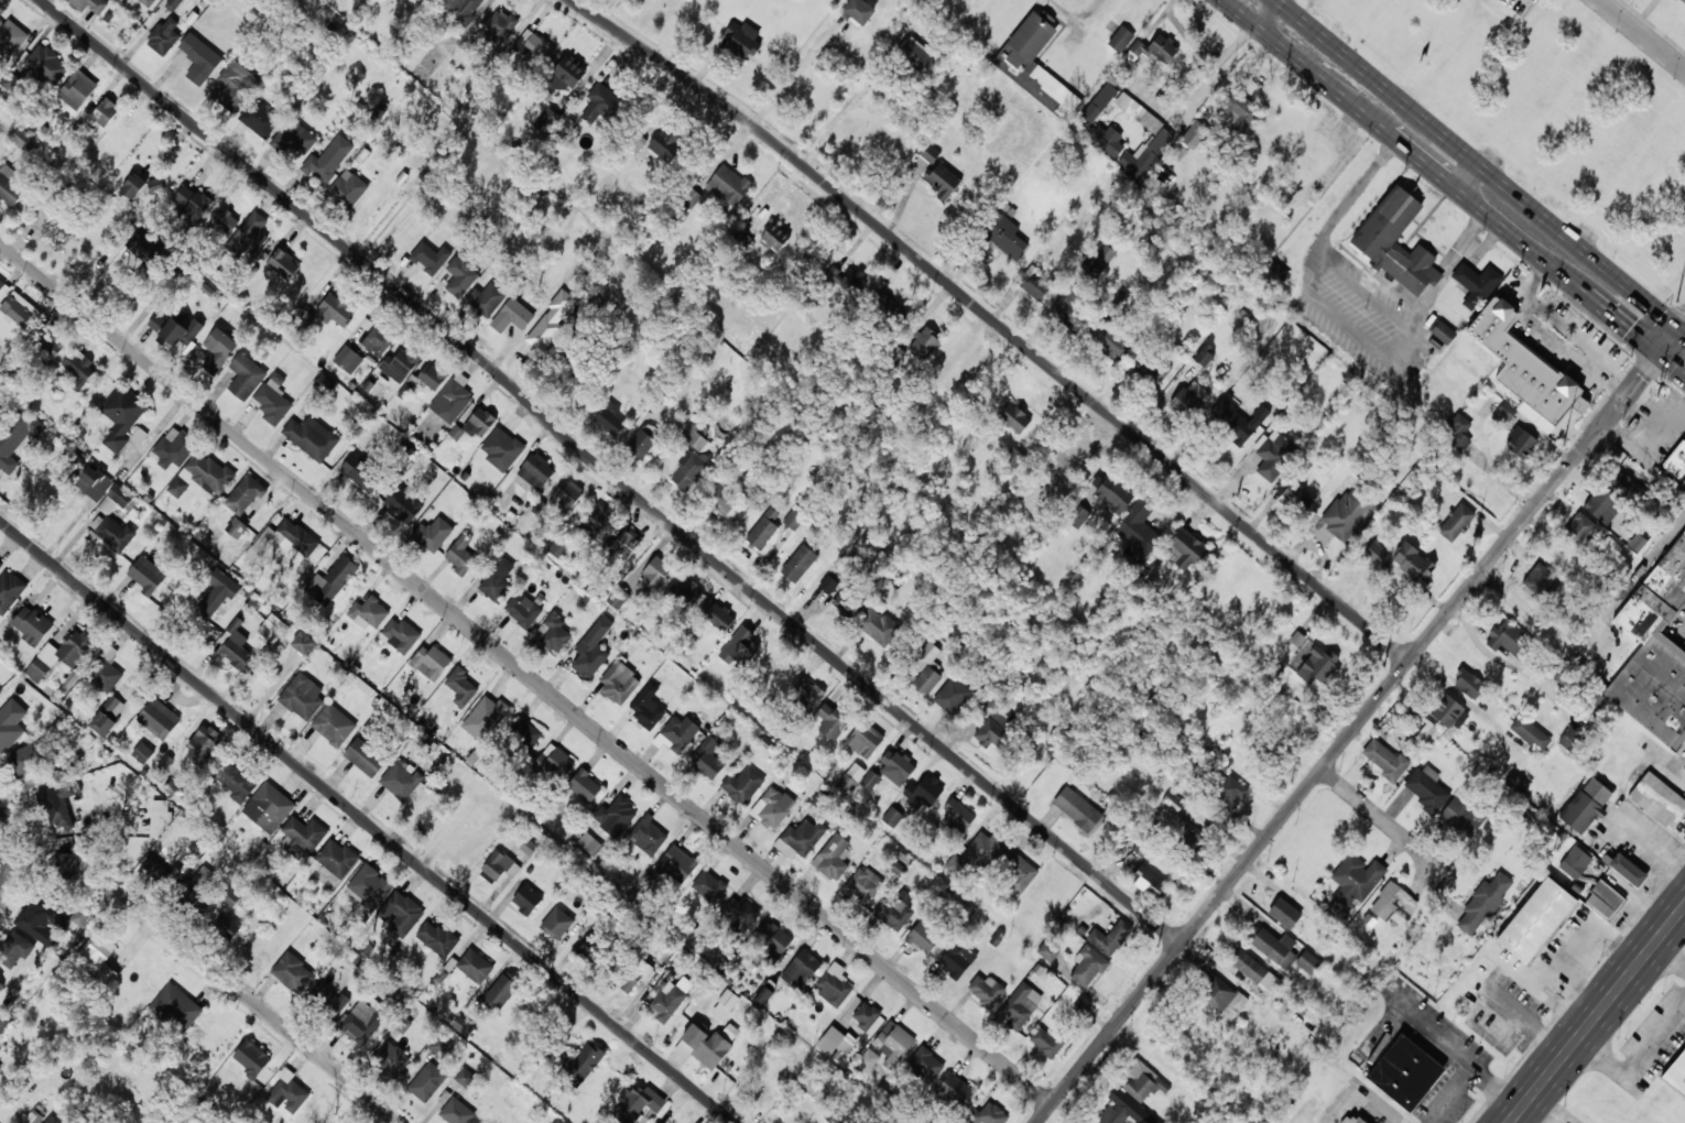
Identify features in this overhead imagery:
building: (657, 0)
building: (146, 2)
building: (1682, 2)
building: (90, 4)
building: (173, 4)
building: (461, 9)
building: (859, 11)
building: (499, 26)
building: (164, 36)
building: (12, 37)
building: (1121, 39)
building: (743, 40)
building: (533, 47)
building: (1156, 48)
building: (914, 53)
building: (199, 58)
building: (46, 64)
road: (794, 74)
building: (565, 76)
building: (236, 85)
building: (77, 89)
road: (849, 97)
building: (1099, 102)
building: (600, 106)
building: (1241, 110)
building: (101, 112)
building: (1138, 112)
building: (259, 118)
building: (1195, 134)
building: (296, 139)
building: (25, 141)
building: (1108, 141)
road: (1410, 142)
building: (665, 148)
building: (1145, 155)
building: (328, 159)
building: (924, 159)
road: (1478, 160)
building: (942, 179)
building: (10, 185)
building: (728, 185)
building: (133, 186)
building: (348, 189)
building: (192, 203)
building: (224, 221)
building: (1387, 223)
building: (57, 231)
building: (248, 237)
building: (775, 237)
building: (1003, 237)
building: (144, 251)
building: (1105, 255)
building: (430, 258)
building: (280, 262)
building: (1278, 272)
building: (461, 275)
building: (845, 276)
building: (1035, 283)
building: (1476, 283)
building: (3, 290)
building: (486, 299)
building: (335, 310)
building: (1072, 310)
building: (22, 312)
road: (1620, 315)
building: (512, 316)
road: (1682, 317)
building: (551, 320)
building: (156, 321)
road: (994, 321)
road: (1682, 324)
traffic signals: (1632, 325)
building: (181, 331)
road: (1668, 334)
building: (1441, 336)
building: (378, 340)
building: (1110, 341)
building: (926, 342)
building: (48, 346)
building: (219, 350)
building: (1204, 356)
road: (1672, 357)
building: (348, 359)
building: (400, 364)
building: (77, 369)
building: (1525, 370)
building: (1149, 373)
traffic signals: (1635, 374)
building: (433, 375)
building: (246, 377)
building: (325, 384)
road: (1620, 392)
building: (453, 399)
building: (1188, 399)
building: (273, 400)
building: (1507, 411)
building: (122, 415)
building: (1014, 417)
building: (610, 419)
building: (1237, 421)
building: (480, 423)
building: (1457, 433)
building: (15, 434)
building: (696, 436)
building: (312, 437)
building: (642, 443)
building: (1520, 443)
building: (174, 448)
building: (501, 448)
building: (1272, 454)
building: (1014, 458)
building: (1676, 460)
building: (1072, 461)
building: (689, 469)
road: (604, 470)
building: (536, 471)
building: (361, 473)
building: (202, 476)
building: (98, 481)
building: (1623, 484)
building: (1112, 492)
building: (243, 494)
building: (567, 494)
building: (1297, 497)
building: (117, 500)
building: (727, 502)
building: (403, 504)
building: (1602, 505)
building: (1078, 516)
building: (1344, 516)
building: (794, 519)
building: (597, 521)
building: (1456, 522)
building: (237, 527)
building: (1578, 528)
building: (763, 530)
building: (111, 532)
building: (1138, 532)
building: (432, 534)
building: (285, 539)
building: (628, 542)
building: (1637, 543)
building: (558, 548)
building: (1186, 548)
building: (1376, 553)
building: (460, 555)
building: (1413, 563)
building: (800, 564)
building: (1, 565)
building: (656, 571)
building: (148, 574)
building: (496, 579)
building: (331, 580)
building: (1543, 582)
building: (828, 585)
building: (9, 590)
building: (687, 592)
building: (215, 595)
building: (617, 598)
building: (846, 603)
building: (522, 610)
building: (369, 611)
building: (717, 614)
building: (31, 624)
building: (272, 628)
building: (879, 628)
building: (553, 633)
building: (400, 635)
building: (1508, 639)
building: (304, 644)
building: (236, 647)
building: (593, 648)
building: (739, 648)
building: (1655, 652)
building: (59, 655)
building: (926, 656)
building: (431, 662)
building: (1318, 665)
building: (106, 670)
road: (524, 672)
building: (926, 679)
building: (619, 683)
building: (1468, 684)
building: (461, 687)
building: (806, 693)
building: (302, 696)
building: (952, 696)
building: (648, 707)
building: (1450, 712)
building: (107, 717)
building: (485, 718)
building: (157, 720)
building: (833, 721)
building: (993, 723)
building: (10, 724)
building: (334, 724)
building: (678, 732)
building: (524, 733)
building: (1530, 733)
building: (865, 740)
building: (1569, 740)
building: (203, 744)
building: (142, 753)
building: (365, 756)
building: (708, 757)
building: (1384, 759)
building: (25, 760)
building: (555, 763)
building: (896, 767)
building: (850, 778)
building: (870, 779)
building: (236, 781)
building: (401, 781)
road: (1307, 781)
building: (1517, 783)
building: (742, 785)
building: (585, 786)
building: (1427, 788)
building: (1231, 792)
building: (923, 793)
building: (1657, 800)
building: (1173, 802)
building: (59, 805)
building: (1586, 805)
building: (269, 807)
building: (772, 807)
building: (1077, 808)
road: (1369, 808)
building: (616, 816)
building: (957, 816)
building: (892, 817)
building: (1461, 817)
building: (159, 818)
road: (367, 825)
building: (649, 835)
building: (302, 836)
building: (1188, 837)
building: (800, 839)
road: (11, 843)
building: (529, 847)
building: (985, 847)
road: (1443, 851)
building: (337, 858)
building: (833, 858)
building: (66, 859)
building: (1575, 862)
building: (677, 864)
building: (498, 866)
building: (1628, 870)
building: (1019, 873)
building: (1356, 880)
building: (1149, 882)
building: (862, 885)
building: (708, 886)
building: (369, 887)
building: (526, 900)
building: (1605, 900)
building: (1393, 903)
building: (1483, 903)
building: (895, 911)
building: (400, 913)
building: (740, 913)
building: (1285, 913)
building: (81, 915)
building: (1536, 920)
building: (42, 922)
building: (556, 923)
building: (923, 937)
building: (1110, 937)
building: (436, 938)
building: (769, 944)
building: (1275, 947)
building: (15, 949)
building: (587, 949)
building: (1047, 951)
building: (99, 958)
building: (957, 960)
building: (1308, 962)
building: (471, 966)
building: (1089, 966)
building: (802, 969)
building: (292, 972)
building: (1255, 973)
building: (834, 985)
building: (1, 986)
building: (502, 989)
building: (986, 990)
building: (764, 995)
building: (1222, 997)
building: (328, 999)
building: (728, 999)
building: (668, 1001)
building: (176, 1006)
building: (1021, 1006)
building: (1080, 1007)
road: (1597, 1013)
building: (866, 1015)
building: (2, 1018)
building: (362, 1021)
road: (273, 1023)
building: (463, 1026)
building: (836, 1042)
building: (1045, 1042)
building: (439, 1045)
building: (703, 1046)
building: (391, 1058)
building: (869, 1058)
building: (251, 1059)
building: (926, 1060)
building: (583, 1061)
building: (1405, 1072)
building: (1676, 1075)
building: (465, 1077)
building: (1142, 1080)
building: (426, 1082)
building: (955, 1090)
building: (287, 1092)
building: (638, 1102)
building: (1122, 1109)
building: (456, 1112)
building: (35, 1116)
building: (52, 1120)
building: (557, 1121)
building: (1359, 1121)
building: (656, 1122)

